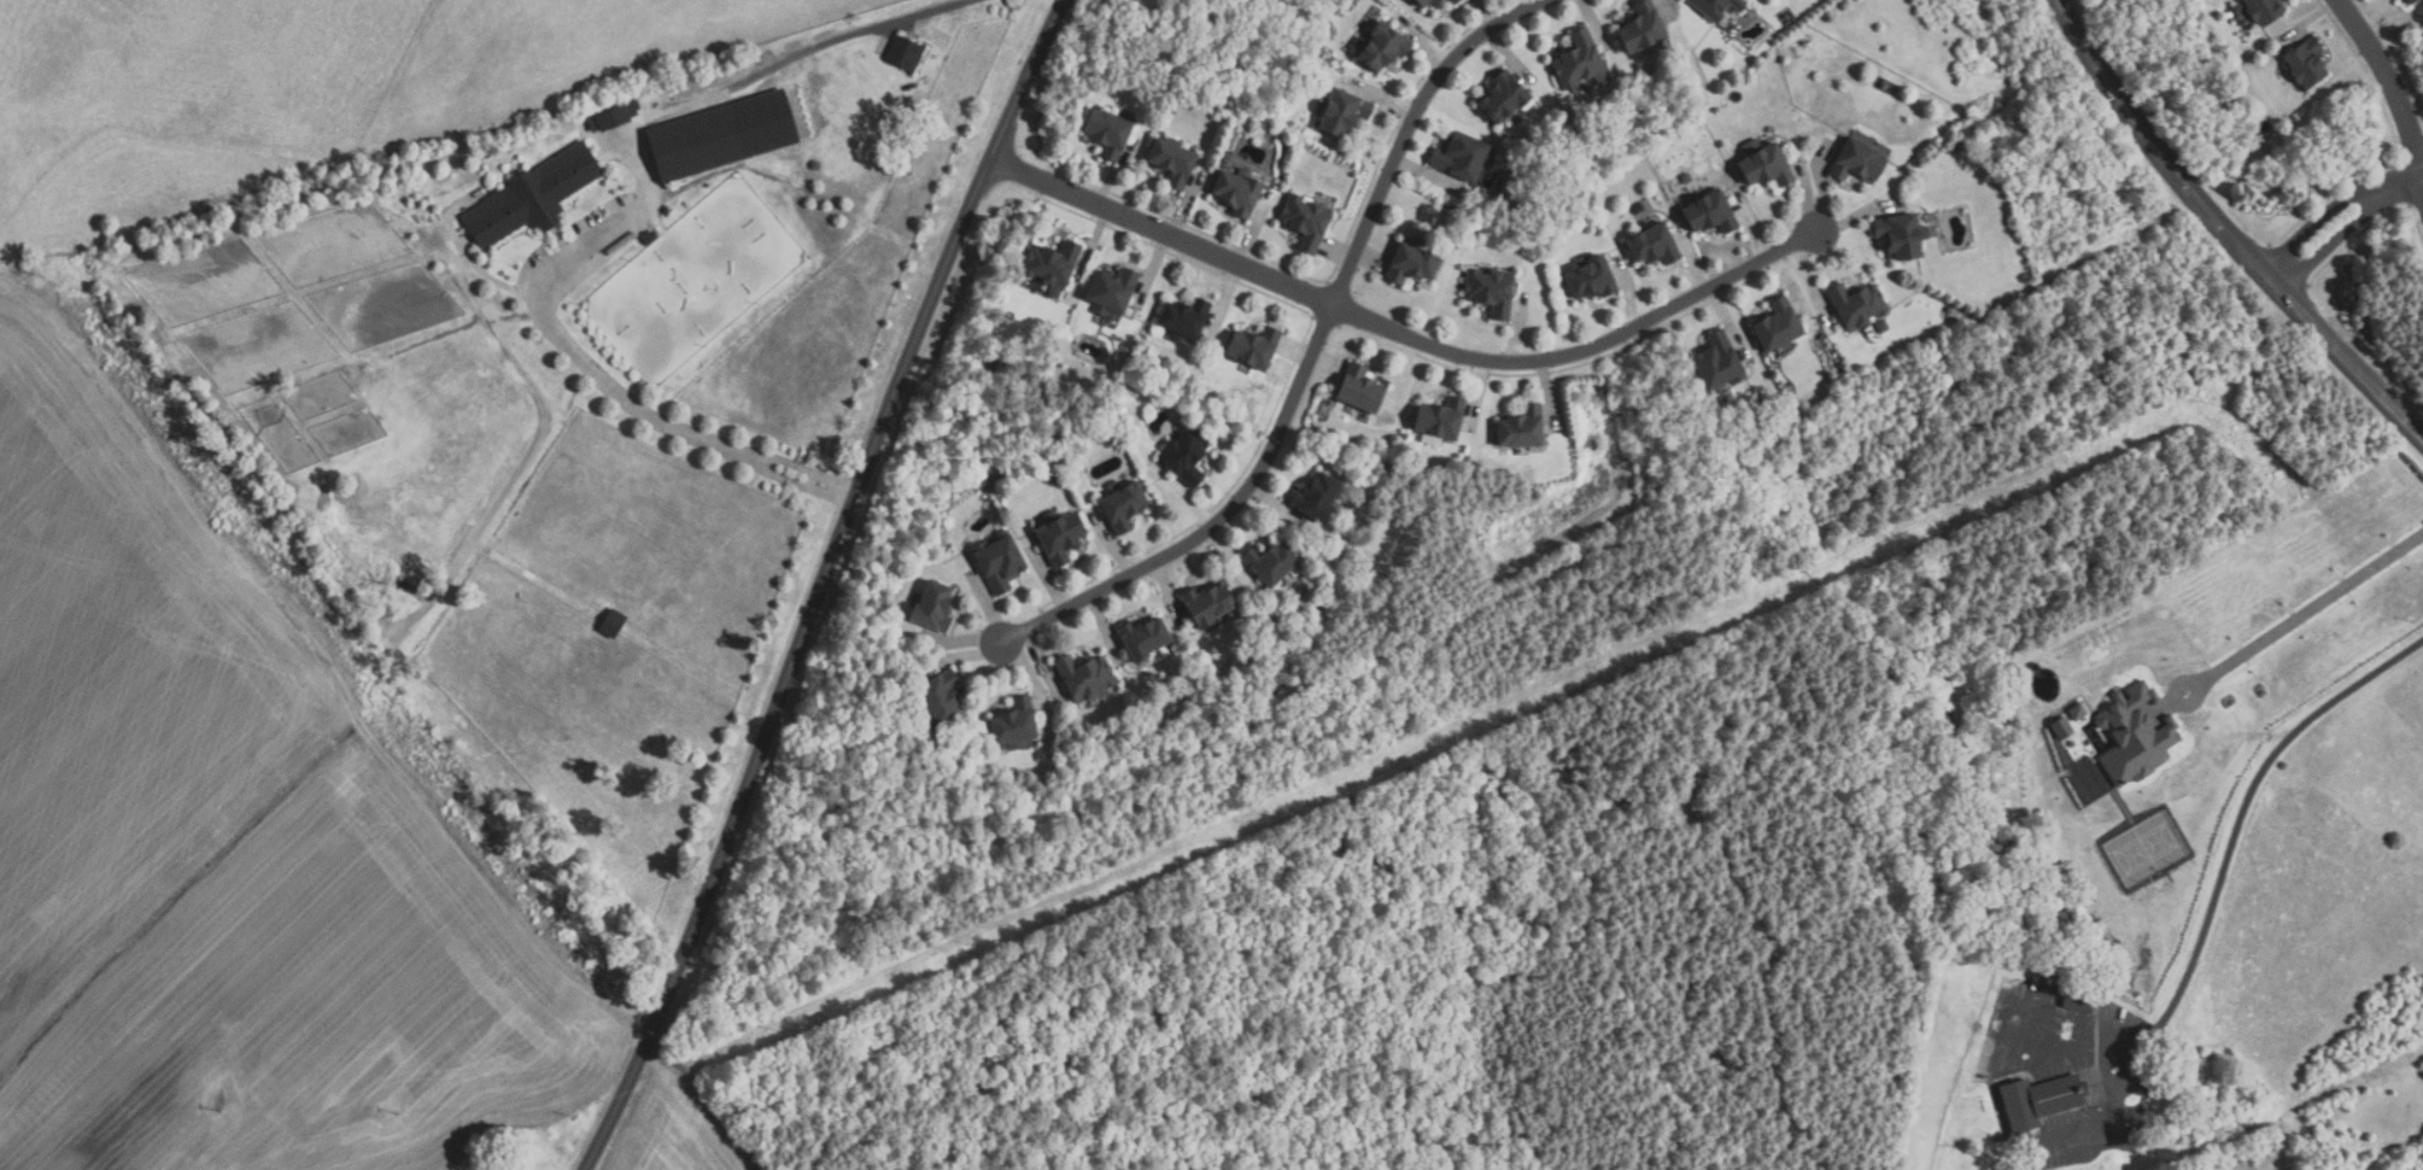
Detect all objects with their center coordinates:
building: (1451, 1)
building: (2409, 1)
building: (2417, 1)
building: (1426, 4)
building: (1715, 8)
building: (2258, 11)
building: (1640, 29)
building: (1377, 48)
building: (903, 54)
building: (2305, 62)
building: (1578, 63)
road: (2390, 82)
building: (1500, 98)
building: (1341, 113)
building: (611, 117)
building: (1104, 134)
building: (720, 136)
building: (1957, 147)
building: (1459, 158)
building: (1170, 163)
building: (1855, 163)
building: (1763, 168)
road: (2407, 183)
building: (1235, 193)
building: (531, 197)
building: (1637, 209)
building: (1709, 215)
road: (2318, 218)
building: (1303, 222)
road: (614, 230)
road: (2223, 233)
building: (1900, 235)
building: (650, 239)
road: (2335, 239)
building: (1651, 246)
building: (1048, 265)
building: (1407, 265)
building: (1588, 281)
building: (1487, 292)
building: (1108, 293)
building: (1855, 306)
building: (1182, 320)
building: (1775, 327)
building: (1880, 327)
road: (1401, 335)
building: (1252, 349)
road: (1311, 356)
building: (1716, 365)
building: (1357, 391)
building: (1438, 420)
building: (1520, 429)
building: (1183, 456)
building: (1313, 498)
building: (1120, 509)
building: (1057, 538)
building: (996, 563)
building: (1268, 564)
road: (820, 584)
building: (1204, 608)
building: (930, 609)
road: (2305, 612)
building: (609, 625)
building: (1140, 638)
building: (1082, 678)
building: (935, 700)
building: (2076, 710)
building: (1012, 726)
building: (2134, 736)
road: (2217, 888)
building: (2085, 907)
building: (2096, 929)
building: (2053, 988)
building: (2078, 1000)
river: (146, 1099)
building: (2038, 1099)
building: (1995, 1139)
river: (2293, 1165)

